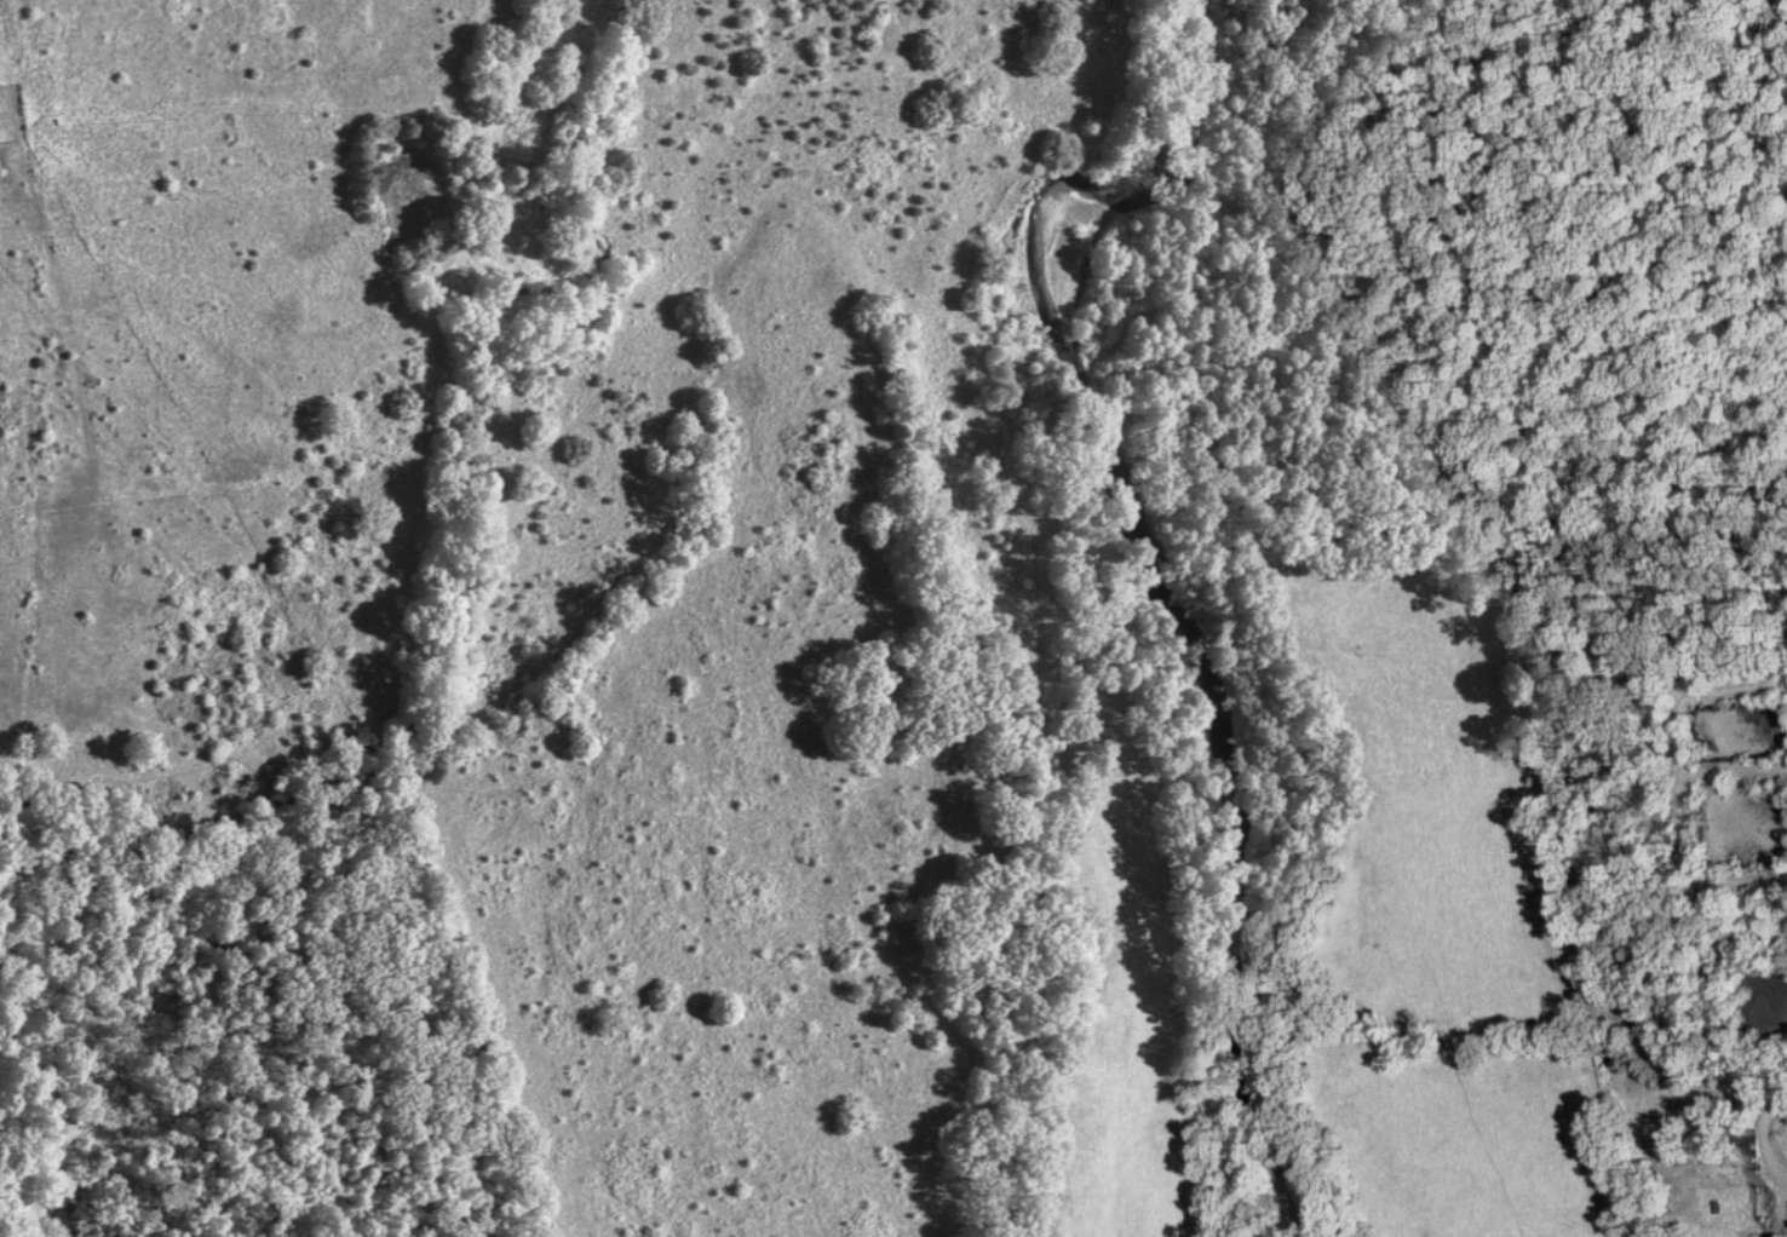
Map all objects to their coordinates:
road: (1762, 1139)

